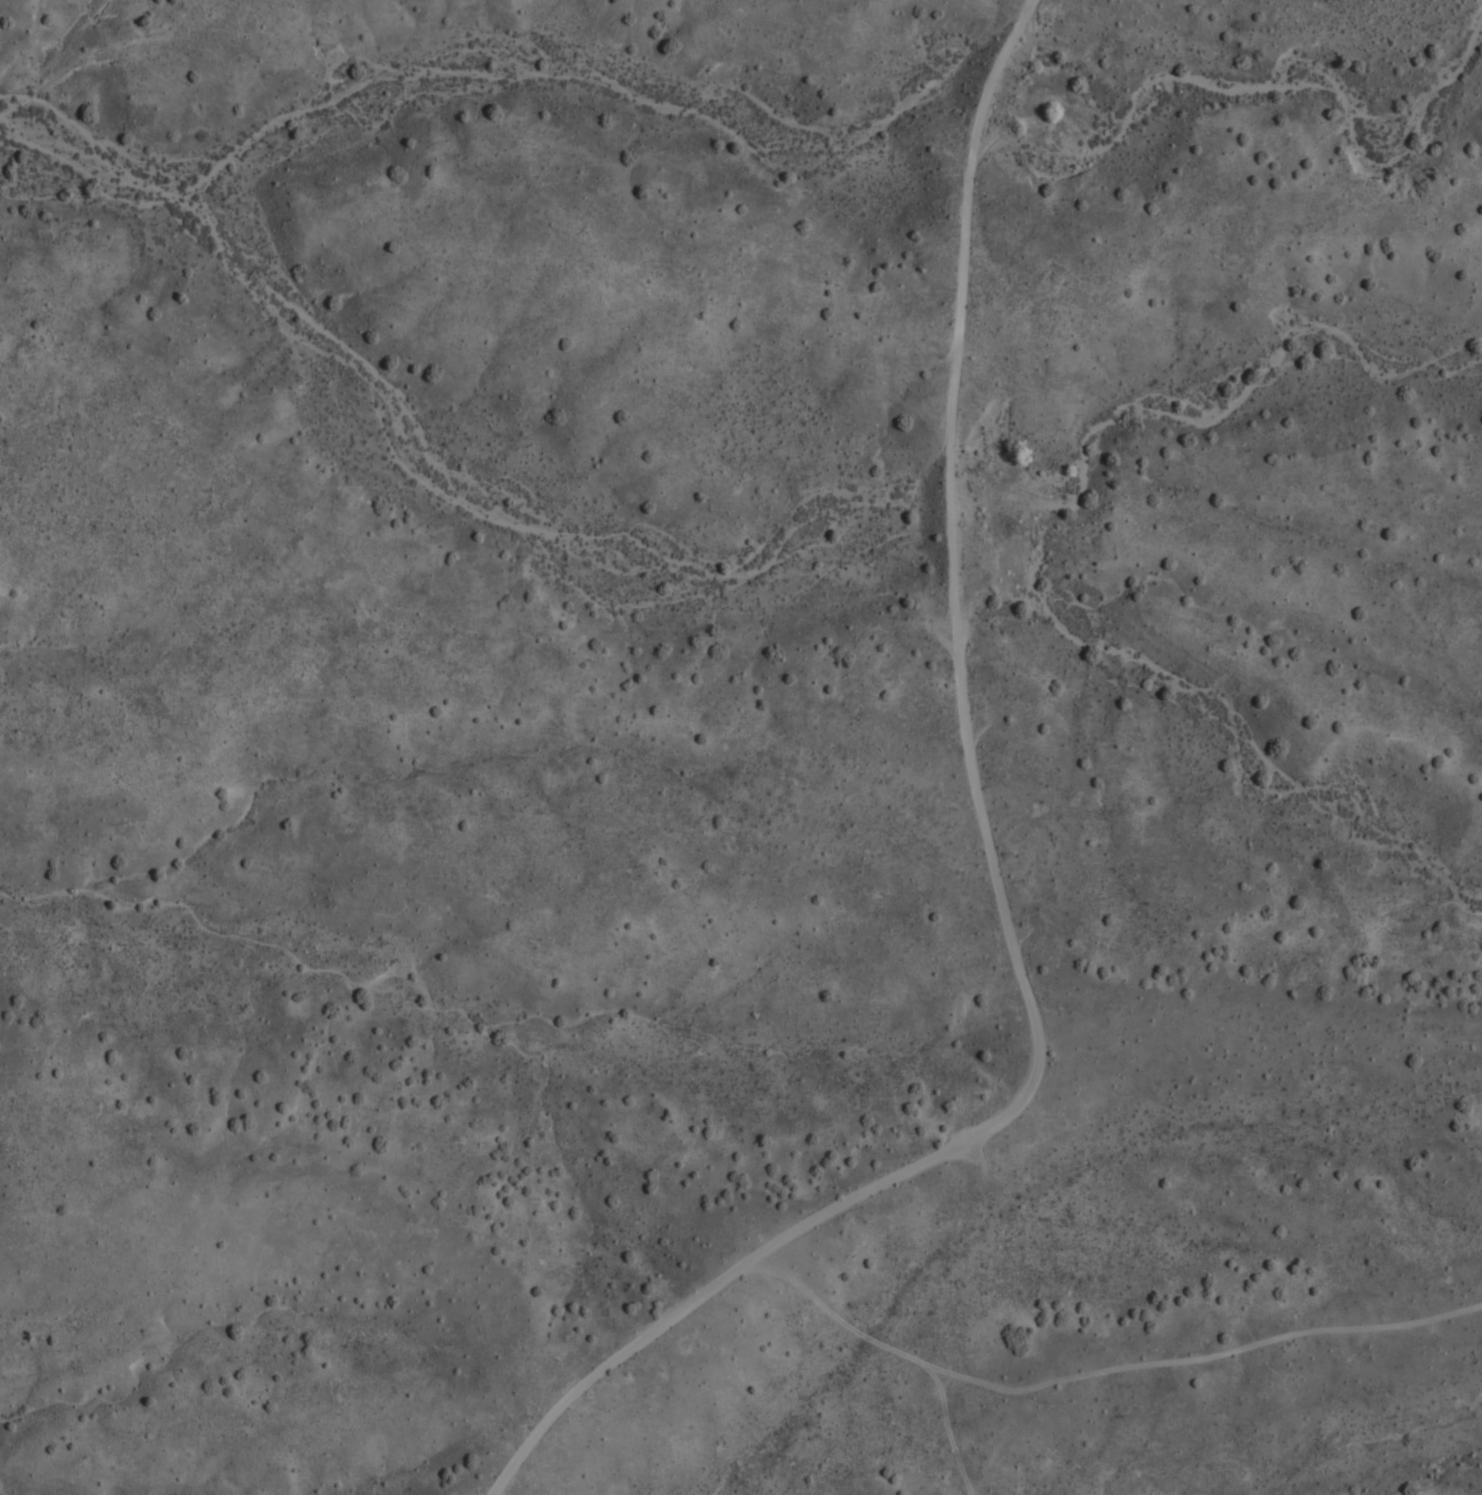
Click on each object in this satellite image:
road: (998, 877)

